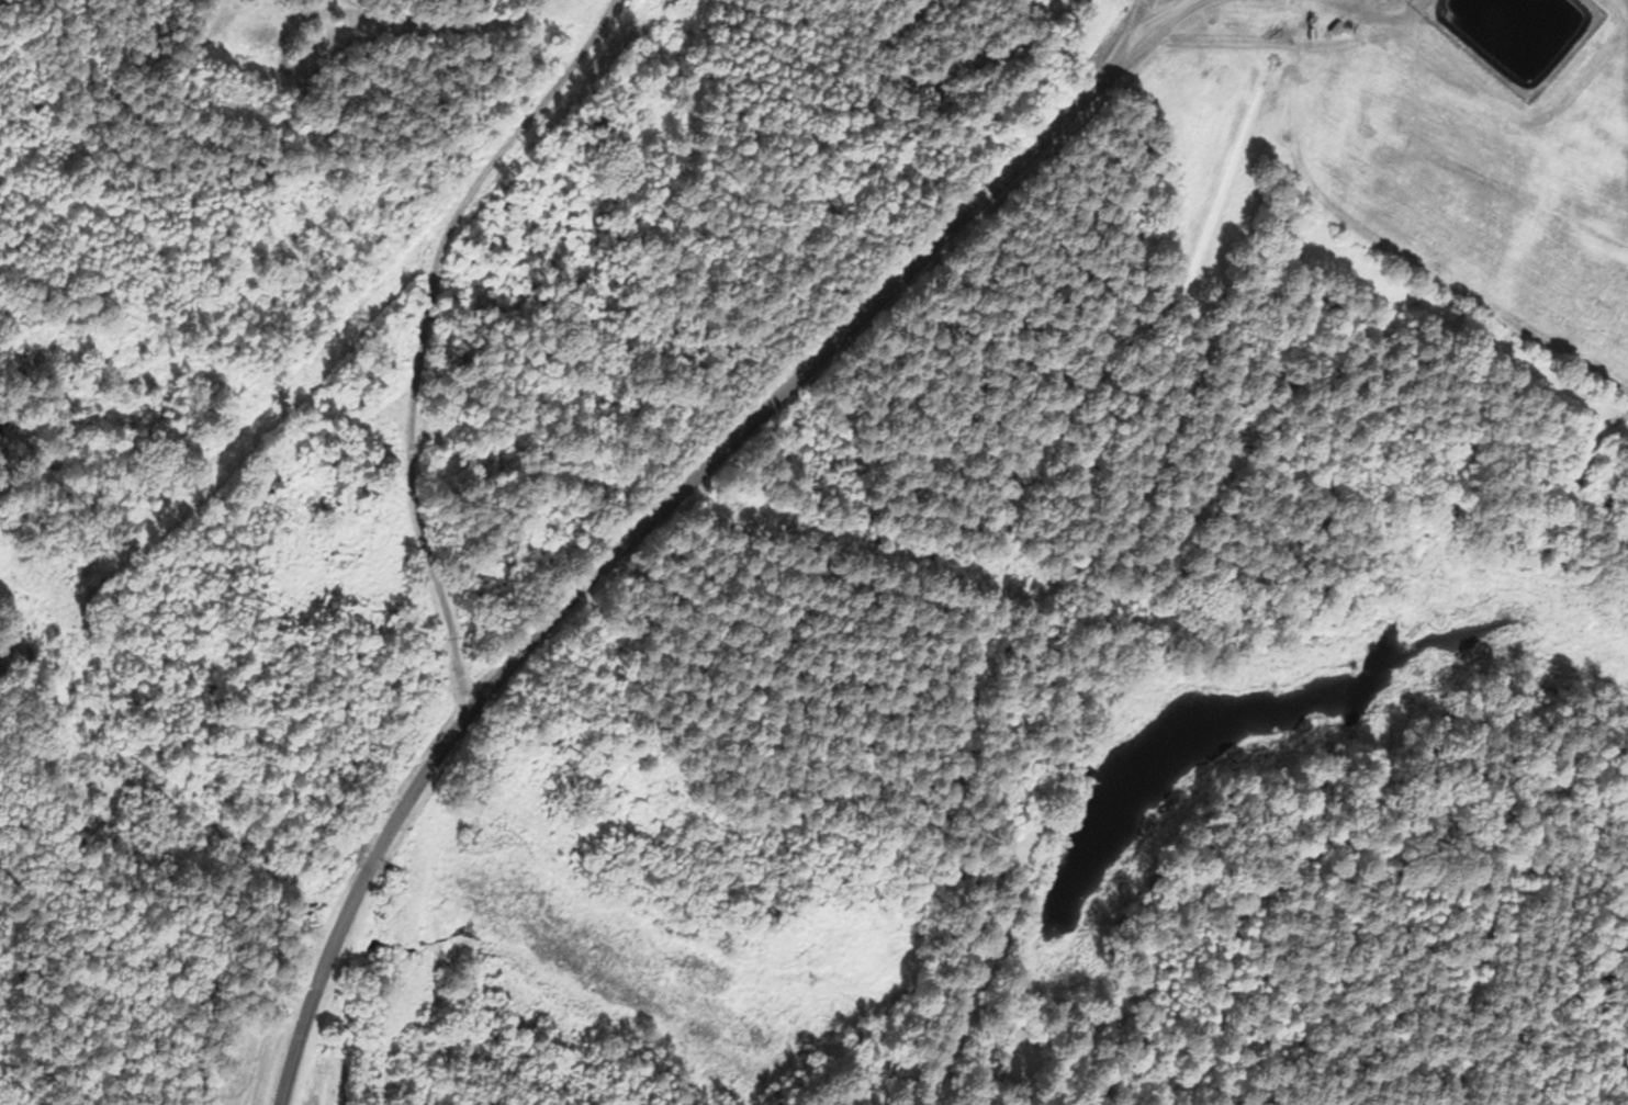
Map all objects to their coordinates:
road: (425, 330)
road: (638, 532)

